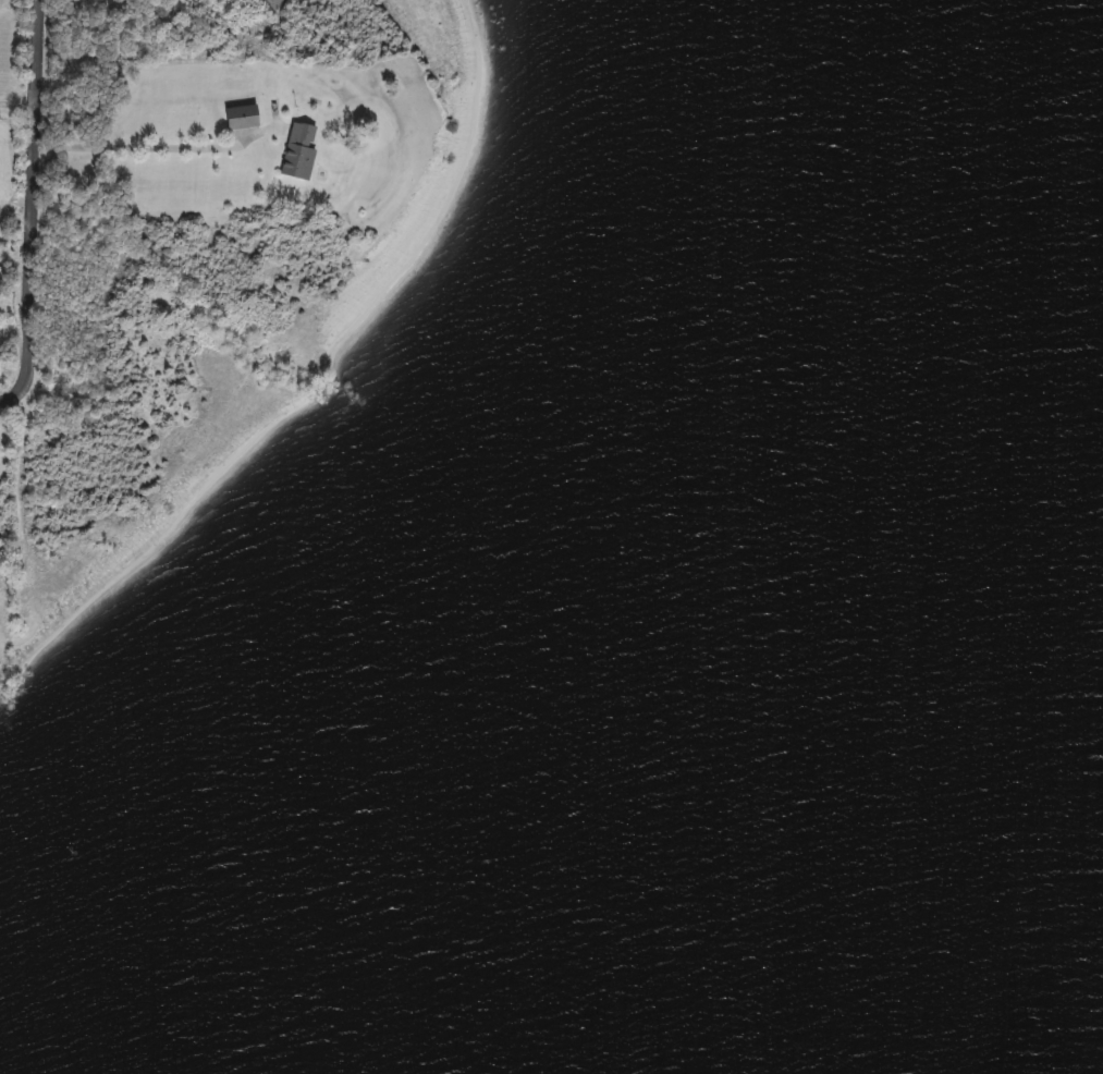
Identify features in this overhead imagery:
road: (20, 7)
road: (17, 100)
building: (243, 118)
road: (156, 147)
building: (299, 151)
road: (32, 204)
road: (15, 216)

